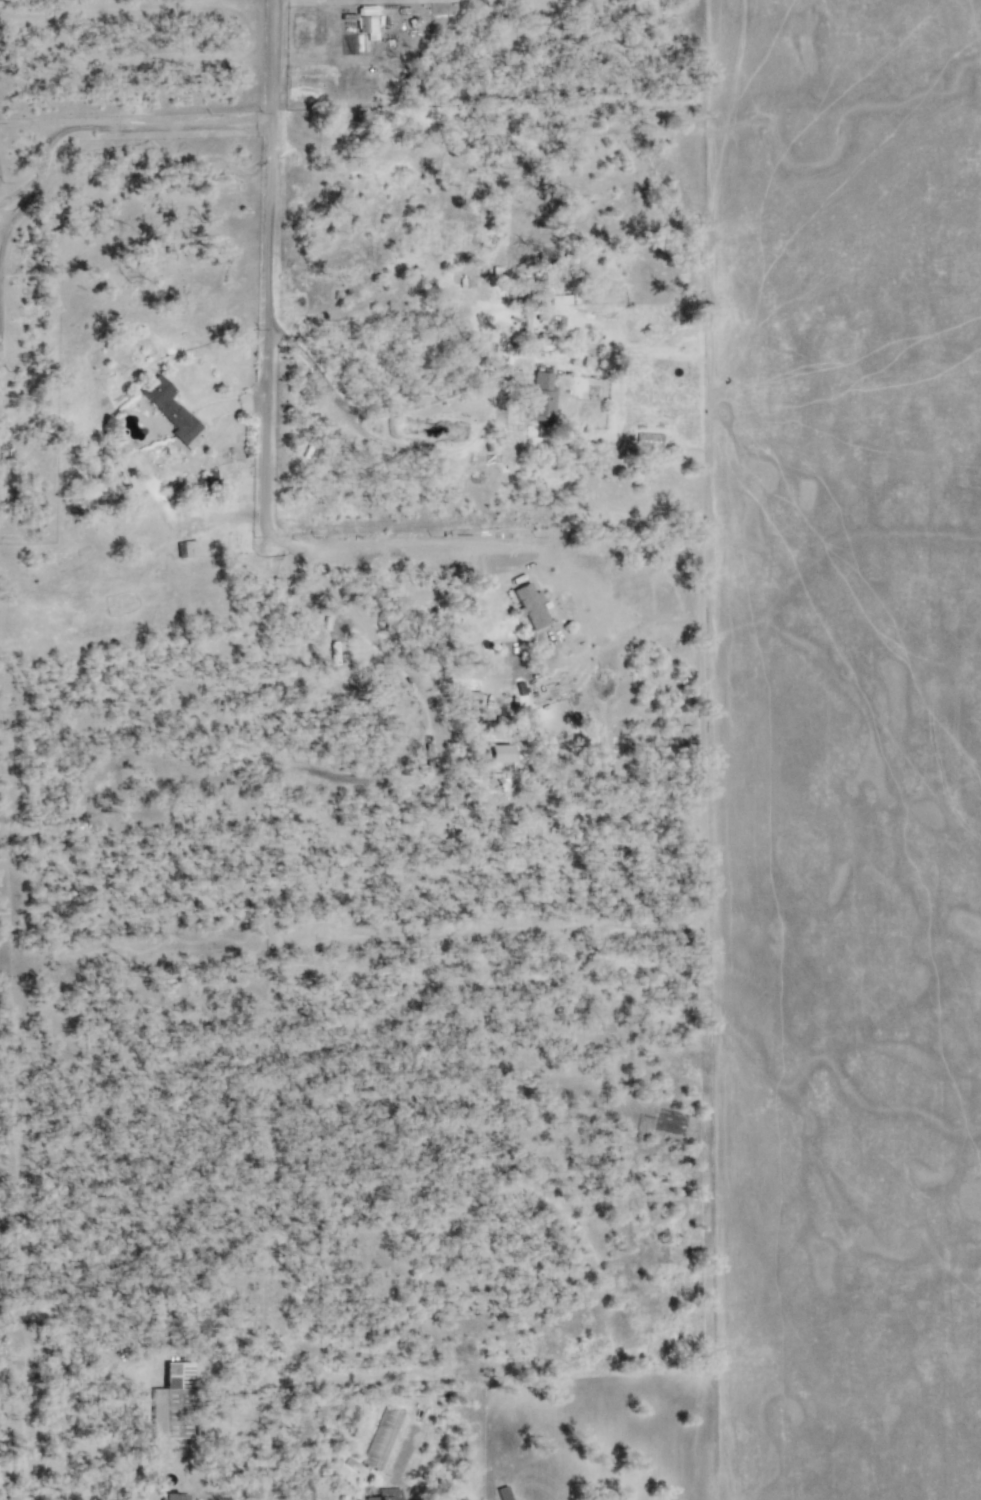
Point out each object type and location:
building: (367, 21)
road: (279, 78)
road: (109, 124)
building: (559, 300)
road: (275, 348)
building: (540, 398)
building: (172, 412)
road: (370, 415)
building: (649, 440)
building: (530, 606)
road: (382, 645)
building: (499, 757)
building: (427, 764)
building: (173, 1403)
building: (382, 1438)
building: (385, 1494)
building: (173, 1496)

